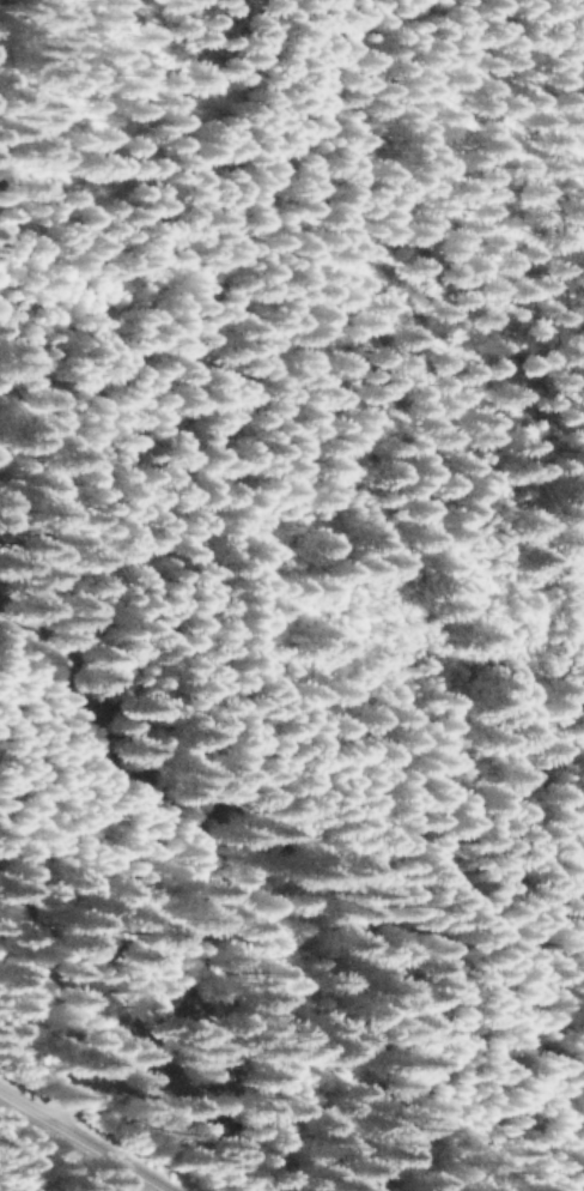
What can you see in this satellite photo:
road: (89, 1138)

